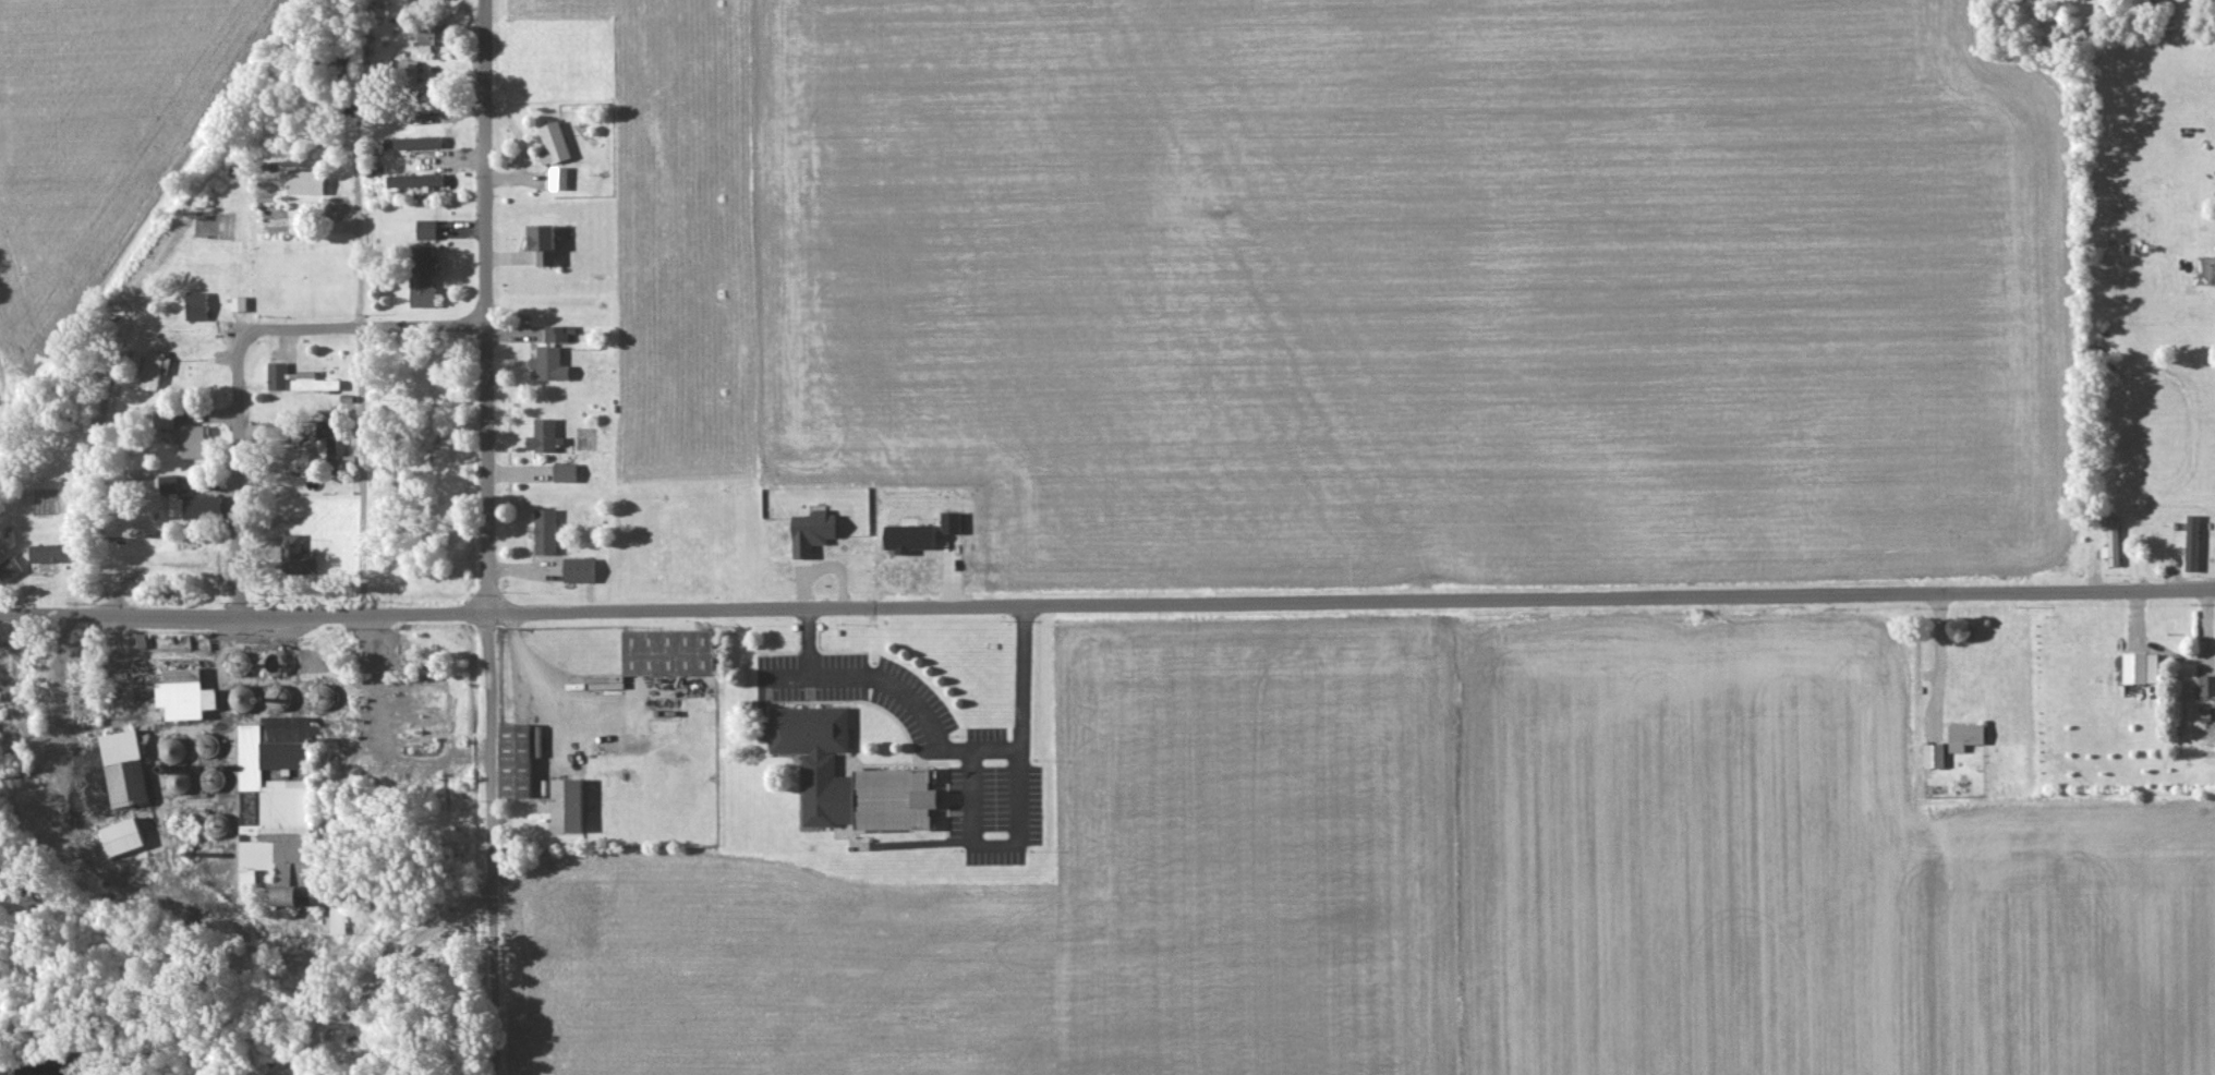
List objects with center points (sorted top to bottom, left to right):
building: (428, 37)
building: (404, 67)
building: (409, 143)
building: (550, 143)
road: (351, 152)
building: (555, 178)
building: (412, 180)
building: (302, 182)
building: (424, 229)
building: (538, 243)
building: (2214, 270)
building: (420, 277)
building: (238, 303)
building: (194, 305)
building: (556, 333)
road: (231, 355)
building: (547, 364)
building: (149, 371)
building: (276, 376)
building: (312, 382)
building: (161, 421)
building: (540, 436)
building: (189, 442)
building: (322, 449)
building: (562, 472)
road: (356, 480)
building: (186, 502)
building: (543, 531)
building: (810, 531)
road: (484, 536)
building: (2113, 541)
building: (2190, 542)
building: (43, 553)
building: (294, 556)
building: (11, 568)
building: (579, 570)
road: (154, 575)
road: (1349, 600)
road: (242, 623)
road: (808, 643)
building: (664, 651)
road: (1939, 663)
building: (2139, 667)
road: (530, 680)
building: (2204, 685)
building: (181, 693)
building: (276, 697)
building: (1963, 735)
road: (383, 741)
road: (946, 749)
building: (170, 750)
building: (1933, 754)
building: (512, 759)
building: (816, 760)
building: (116, 763)
building: (174, 780)
building: (562, 804)
building: (264, 816)
building: (120, 835)
road: (996, 844)
building: (273, 894)
building: (335, 918)

